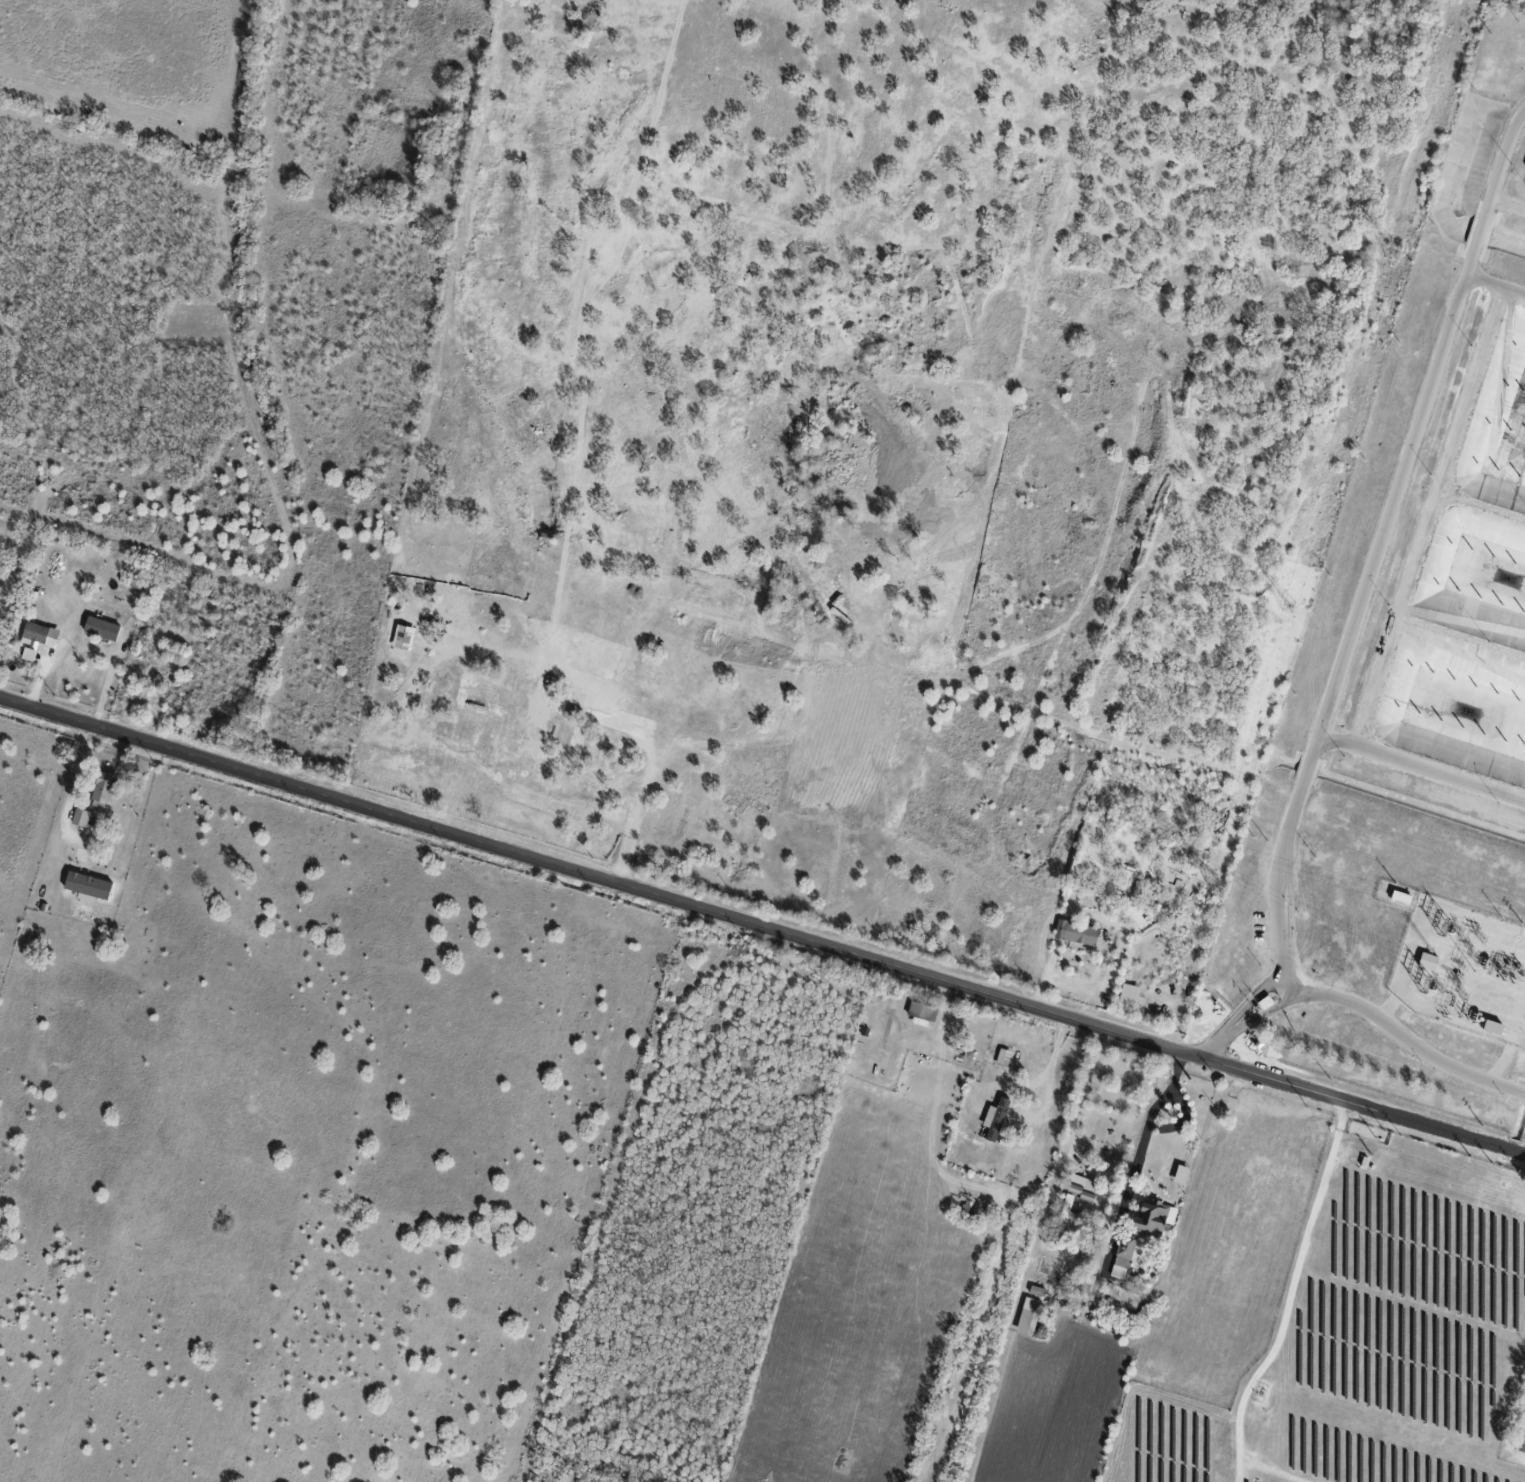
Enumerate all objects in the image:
road: (1506, 203)
power tower: (1393, 252)
road: (1493, 285)
road: (1428, 517)
power tower: (1289, 609)
building: (100, 629)
building: (39, 634)
building: (28, 655)
road: (1338, 667)
road: (106, 683)
wastewater plant: (1412, 688)
road: (838, 715)
road: (1421, 767)
road: (77, 775)
building: (102, 788)
building: (83, 818)
power tower: (1213, 885)
building: (87, 887)
building: (1171, 889)
building: (1399, 896)
road: (762, 926)
building: (1075, 932)
building: (1425, 960)
power substation: (1459, 966)
building: (1128, 994)
road: (1248, 1001)
building: (1266, 1002)
building: (1494, 1002)
road: (1386, 1006)
building: (921, 1011)
road: (1260, 1016)
building: (1497, 1028)
road: (1208, 1047)
building: (1002, 1057)
road: (1500, 1064)
building: (994, 1118)
road: (1065, 1143)
road: (1136, 1158)
building: (1180, 1175)
building: (1081, 1187)
building: (1067, 1213)
building: (1150, 1217)
building: (1122, 1257)
building: (1027, 1316)
solar farm: (1365, 1334)
road: (1492, 1421)
wastewater plant: (1516, 1433)
road: (1524, 1443)

